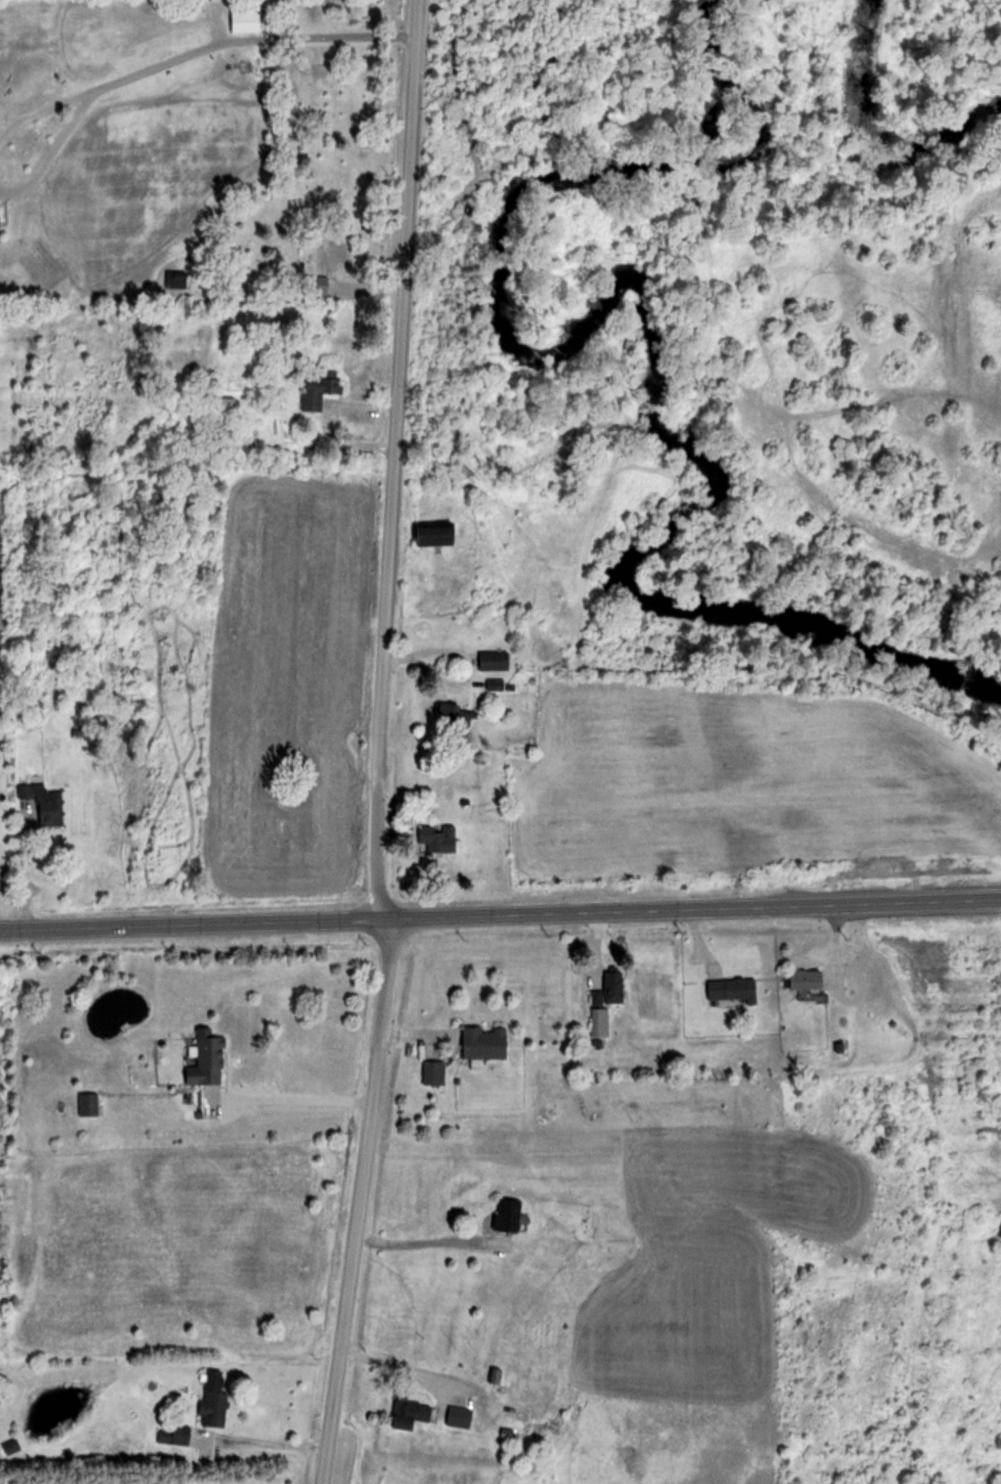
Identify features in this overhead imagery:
building: (247, 23)
road: (247, 42)
road: (41, 111)
road: (52, 153)
building: (335, 251)
building: (176, 280)
building: (320, 389)
building: (226, 407)
building: (440, 537)
building: (495, 661)
building: (499, 685)
building: (456, 716)
road: (364, 743)
building: (44, 804)
building: (438, 841)
road: (500, 917)
building: (808, 978)
building: (614, 988)
building: (734, 990)
building: (600, 1023)
building: (485, 1043)
building: (208, 1061)
building: (434, 1073)
road: (284, 1097)
building: (89, 1104)
building: (508, 1214)
road: (414, 1248)
road: (394, 1365)
building: (215, 1400)
building: (411, 1414)
building: (460, 1417)
building: (181, 1435)
building: (507, 1437)
road: (252, 1441)
building: (12, 1448)

